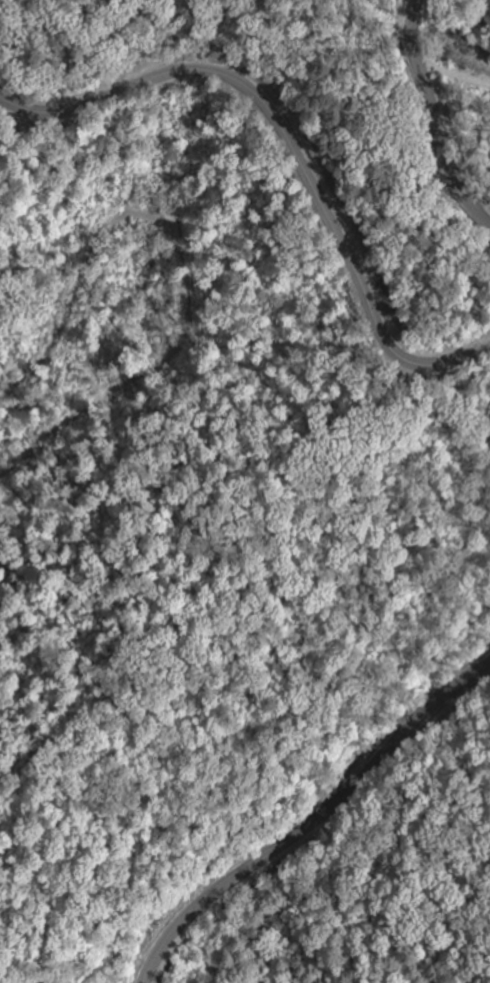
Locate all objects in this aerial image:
road: (433, 118)
road: (292, 144)
road: (312, 820)

